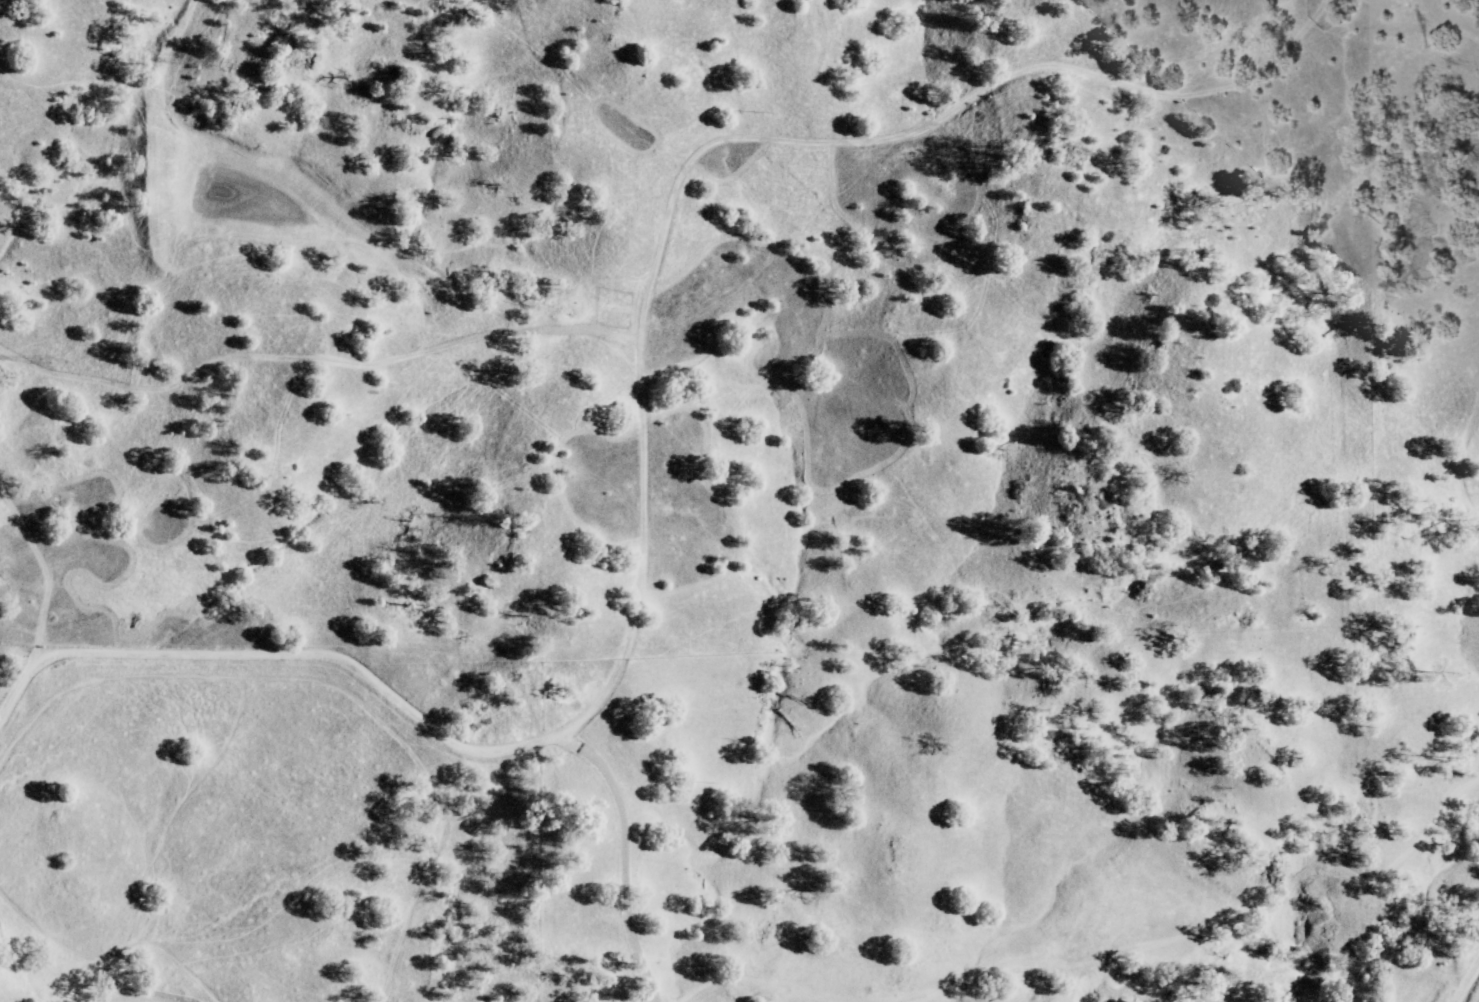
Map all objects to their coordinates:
road: (1315, 18)
road: (714, 144)
power tower: (56, 362)
road: (33, 528)
road: (278, 657)
road: (621, 857)

